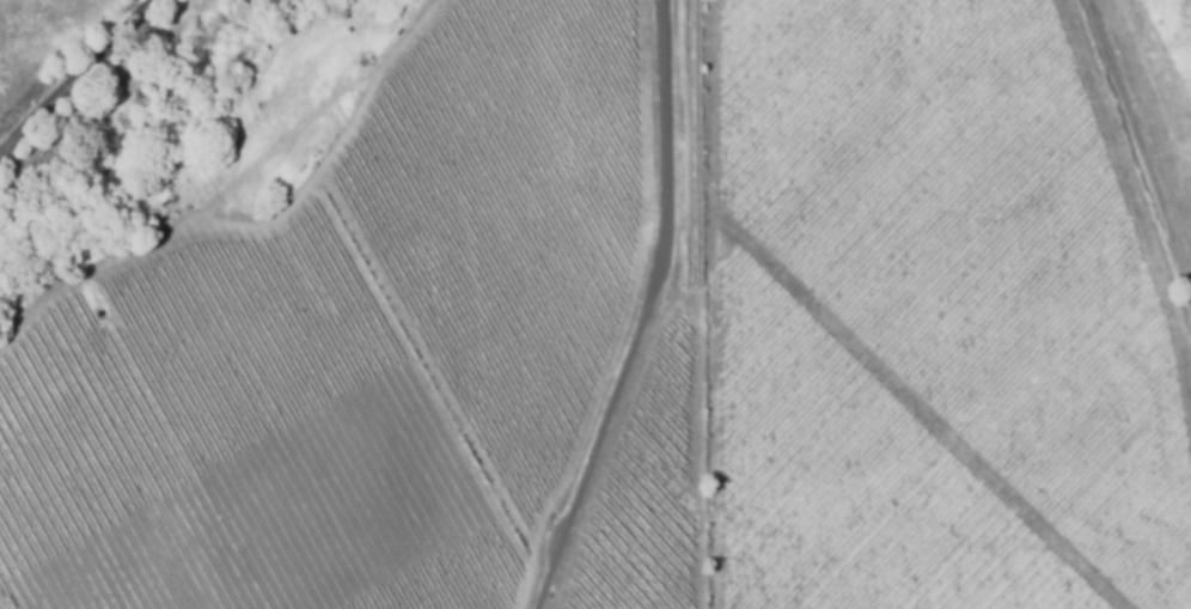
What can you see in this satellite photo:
road: (78, 77)
road: (1140, 142)
crop: (509, 207)
crop: (978, 243)
road: (652, 312)
crop: (233, 445)
crop: (860, 485)
crop: (651, 497)

